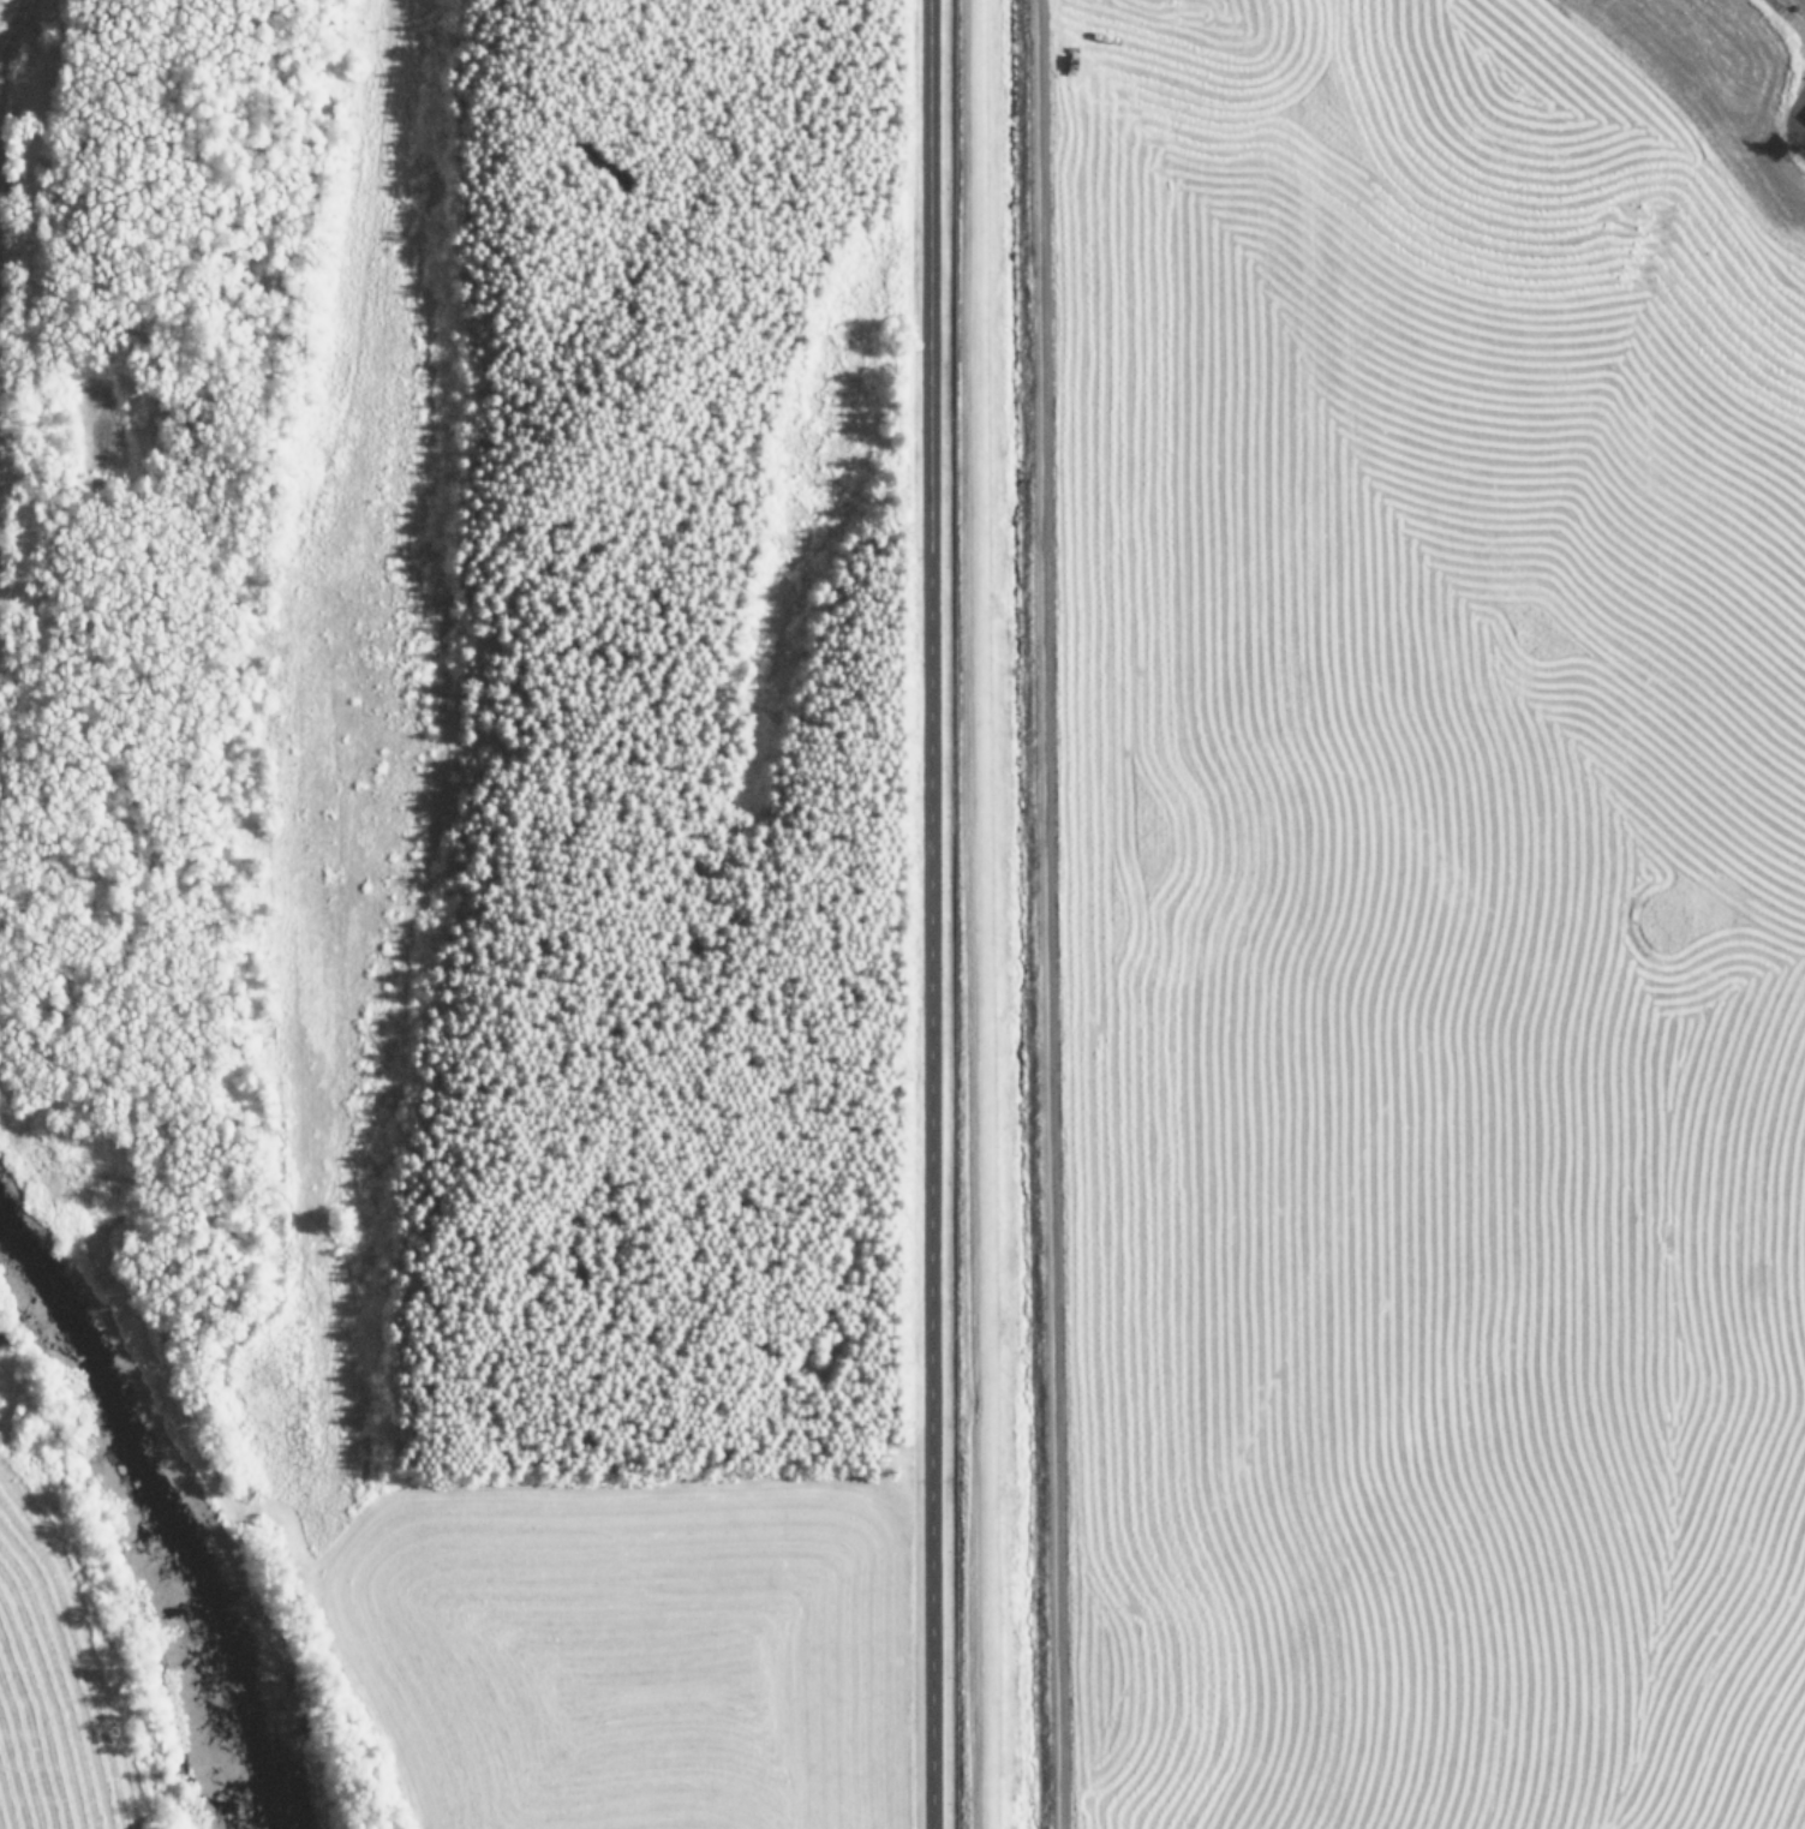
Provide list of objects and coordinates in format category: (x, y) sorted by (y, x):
parking lot: (6, 97)
crop: (1440, 913)
road: (928, 914)
road: (1051, 914)
airport: (1356, 914)
crop: (66, 1636)
crop: (623, 1655)

